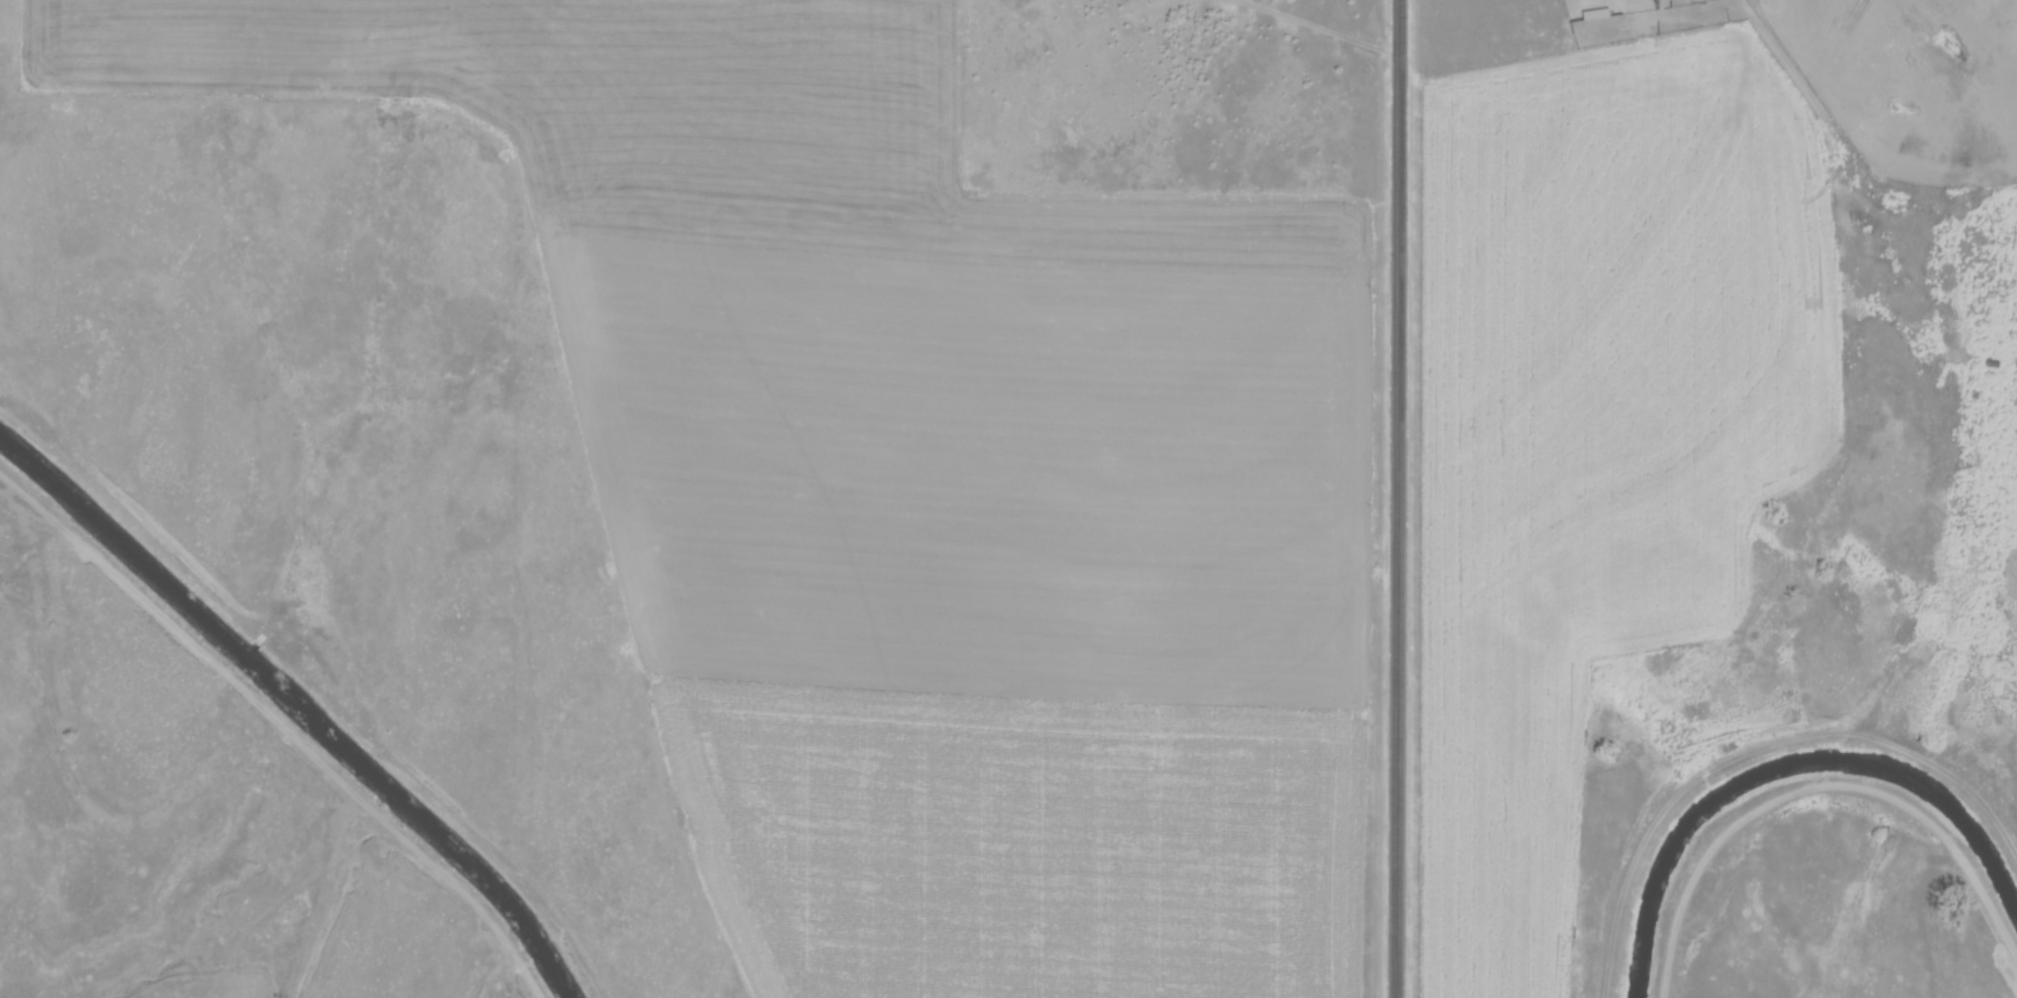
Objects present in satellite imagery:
road: (1313, 25)
crop: (694, 124)
crop: (1587, 429)
road: (1394, 498)
road: (283, 725)
road: (1816, 784)

